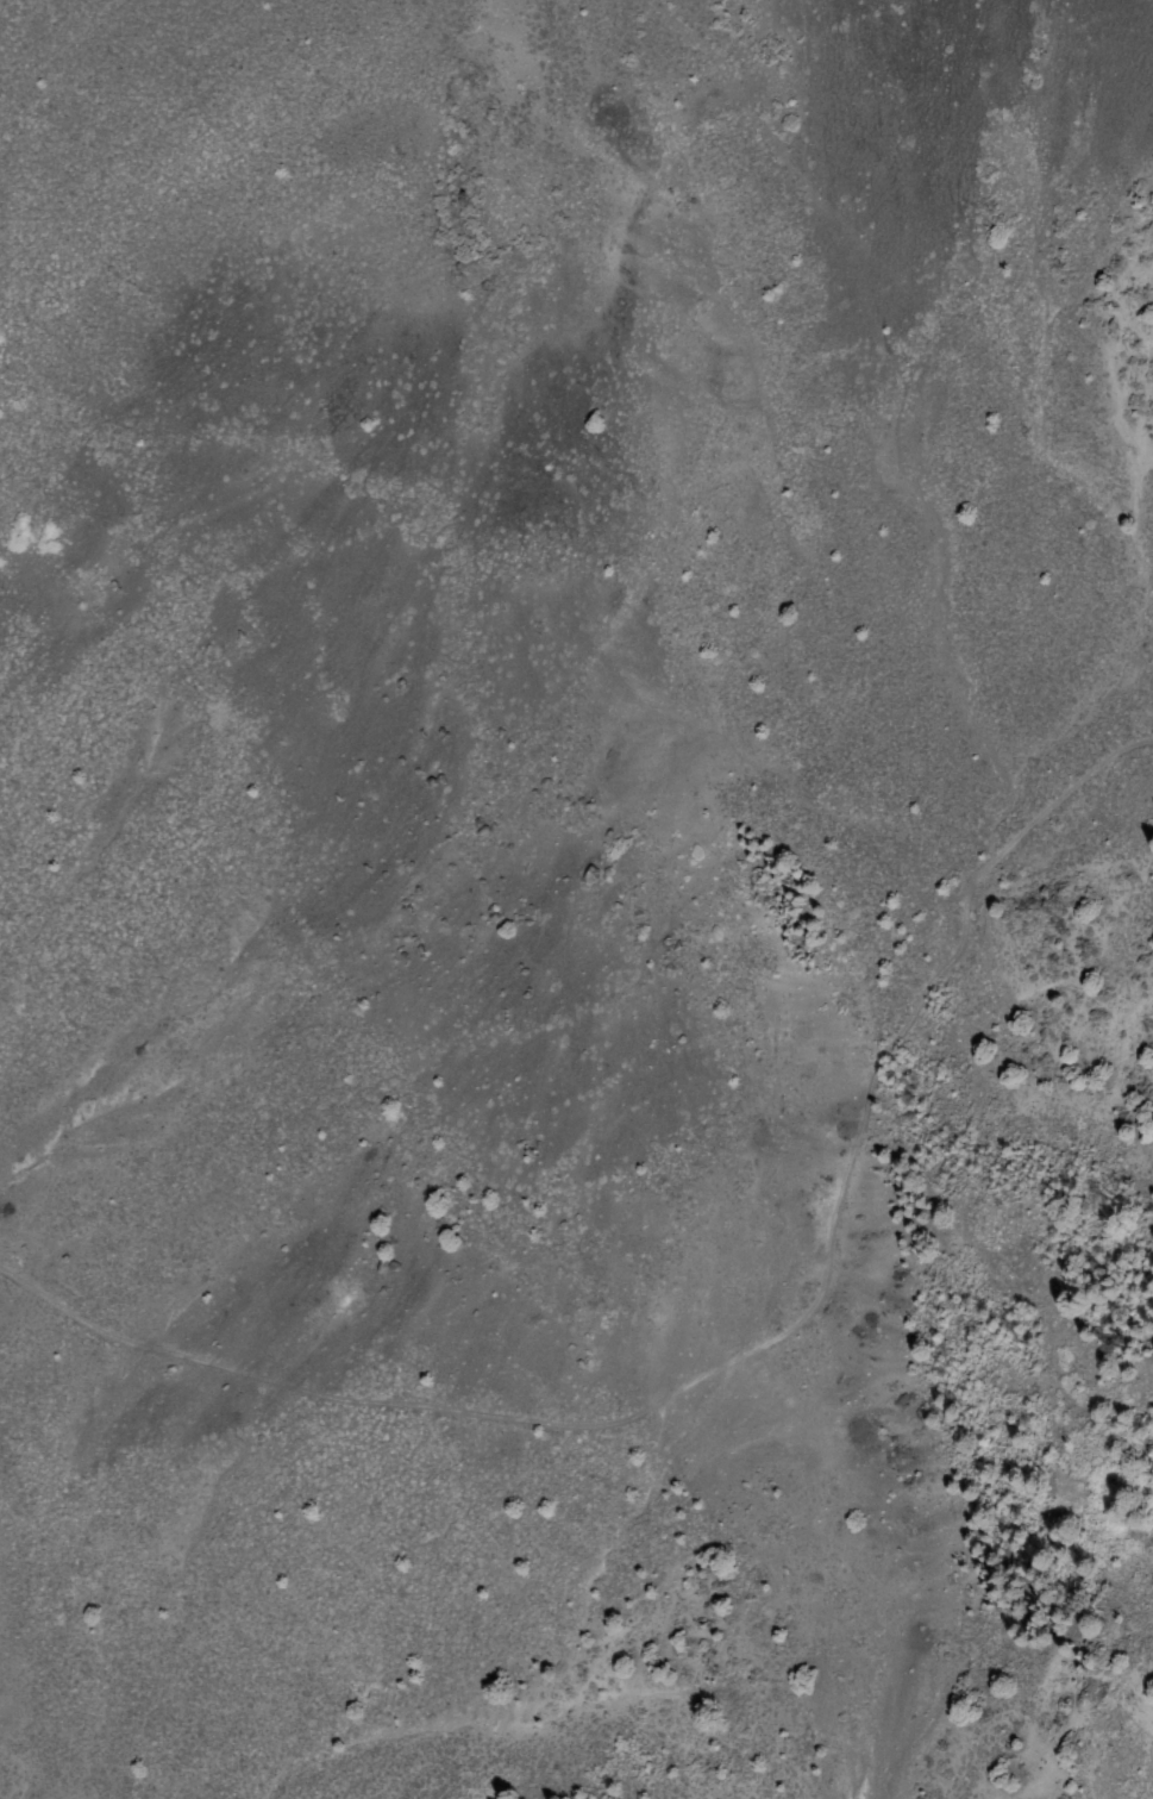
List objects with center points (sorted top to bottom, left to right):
road: (871, 260)
road: (740, 1362)

